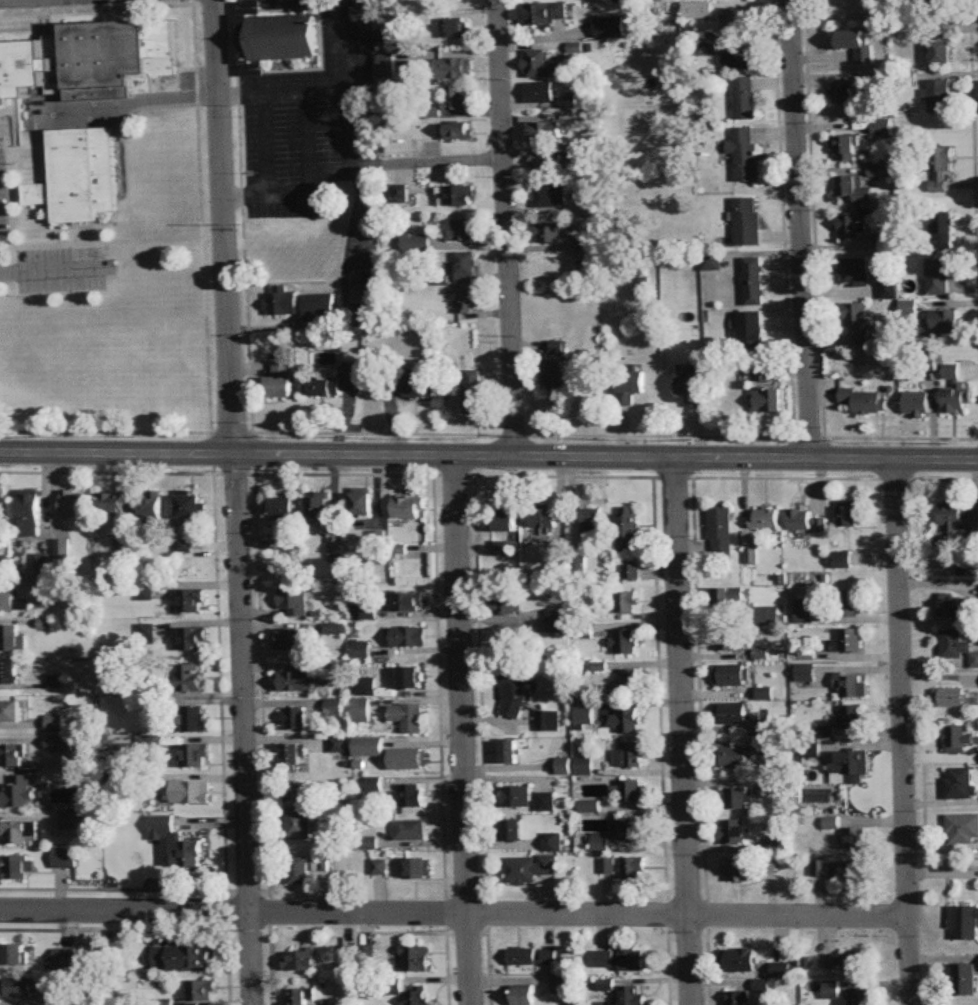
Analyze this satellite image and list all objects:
building: (938, 1)
building: (547, 13)
building: (369, 16)
building: (741, 19)
building: (456, 28)
building: (283, 35)
road: (343, 43)
building: (941, 48)
building: (89, 60)
building: (741, 61)
building: (387, 65)
building: (542, 66)
building: (456, 69)
building: (540, 93)
building: (843, 93)
building: (940, 96)
building: (458, 98)
building: (745, 98)
road: (126, 102)
road: (348, 107)
parking lot: (309, 117)
building: (882, 128)
building: (458, 132)
building: (546, 133)
road: (310, 138)
building: (845, 149)
building: (747, 155)
road: (451, 159)
building: (547, 164)
building: (940, 167)
building: (881, 171)
building: (79, 176)
road: (271, 188)
building: (853, 189)
building: (399, 194)
building: (457, 195)
building: (551, 197)
building: (747, 221)
building: (850, 227)
road: (508, 228)
building: (461, 230)
road: (799, 230)
building: (942, 230)
building: (549, 234)
building: (416, 242)
building: (587, 243)
building: (712, 263)
building: (466, 268)
road: (51, 269)
building: (855, 273)
building: (940, 275)
building: (754, 281)
building: (372, 289)
building: (468, 300)
building: (284, 301)
building: (321, 307)
building: (857, 320)
building: (945, 322)
building: (558, 348)
building: (557, 375)
building: (282, 380)
building: (334, 382)
building: (414, 386)
building: (630, 386)
building: (692, 388)
building: (476, 392)
building: (765, 392)
building: (955, 392)
building: (866, 400)
building: (917, 404)
road: (489, 457)
building: (112, 502)
road: (236, 502)
building: (74, 503)
building: (363, 503)
building: (191, 506)
building: (284, 507)
building: (320, 507)
building: (410, 507)
building: (153, 508)
building: (2, 509)
building: (31, 513)
building: (847, 514)
building: (959, 517)
building: (506, 518)
building: (546, 518)
building: (593, 519)
building: (766, 519)
building: (808, 523)
building: (630, 533)
building: (722, 535)
building: (336, 550)
building: (752, 557)
building: (843, 560)
building: (2, 561)
building: (557, 568)
building: (632, 572)
building: (729, 597)
building: (193, 600)
building: (293, 601)
building: (625, 601)
building: (13, 602)
building: (409, 602)
building: (508, 603)
building: (850, 603)
building: (953, 606)
building: (805, 611)
building: (766, 616)
building: (558, 621)
building: (336, 628)
building: (409, 637)
building: (11, 638)
building: (193, 638)
building: (294, 639)
building: (728, 639)
building: (626, 641)
building: (849, 641)
building: (957, 646)
building: (9, 672)
building: (806, 674)
building: (732, 675)
building: (191, 677)
building: (411, 678)
building: (296, 679)
building: (117, 681)
building: (631, 682)
building: (851, 686)
building: (513, 691)
building: (951, 698)
building: (362, 711)
building: (11, 712)
building: (732, 714)
building: (852, 717)
building: (408, 718)
building: (586, 718)
building: (194, 719)
building: (294, 719)
building: (549, 721)
building: (627, 722)
building: (54, 724)
road: (463, 730)
road: (682, 732)
road: (904, 732)
building: (958, 740)
building: (59, 744)
building: (369, 748)
building: (511, 752)
building: (14, 756)
building: (194, 756)
building: (630, 756)
building: (293, 757)
building: (735, 758)
building: (413, 760)
building: (564, 767)
building: (851, 768)
building: (960, 784)
building: (631, 792)
building: (18, 793)
building: (191, 793)
building: (412, 796)
building: (528, 799)
building: (736, 799)
building: (300, 816)
building: (75, 821)
building: (161, 827)
building: (963, 829)
building: (411, 831)
building: (514, 831)
building: (734, 832)
building: (20, 834)
building: (623, 838)
building: (855, 840)
building: (554, 843)
building: (779, 845)
building: (187, 856)
building: (63, 859)
building: (608, 866)
building: (381, 867)
building: (634, 868)
building: (19, 869)
building: (419, 869)
building: (529, 869)
building: (739, 870)
building: (299, 871)
building: (852, 873)
road: (454, 913)
building: (964, 924)
building: (14, 955)
building: (360, 955)
building: (181, 957)
building: (524, 958)
building: (551, 958)
building: (66, 959)
building: (417, 959)
building: (303, 960)
building: (620, 960)
building: (740, 961)
building: (848, 962)
building: (781, 971)
building: (964, 980)
building: (562, 986)
building: (18, 988)
building: (202, 991)
building: (525, 995)
building: (302, 996)
building: (418, 996)
building: (630, 996)
building: (738, 998)
building: (862, 998)

